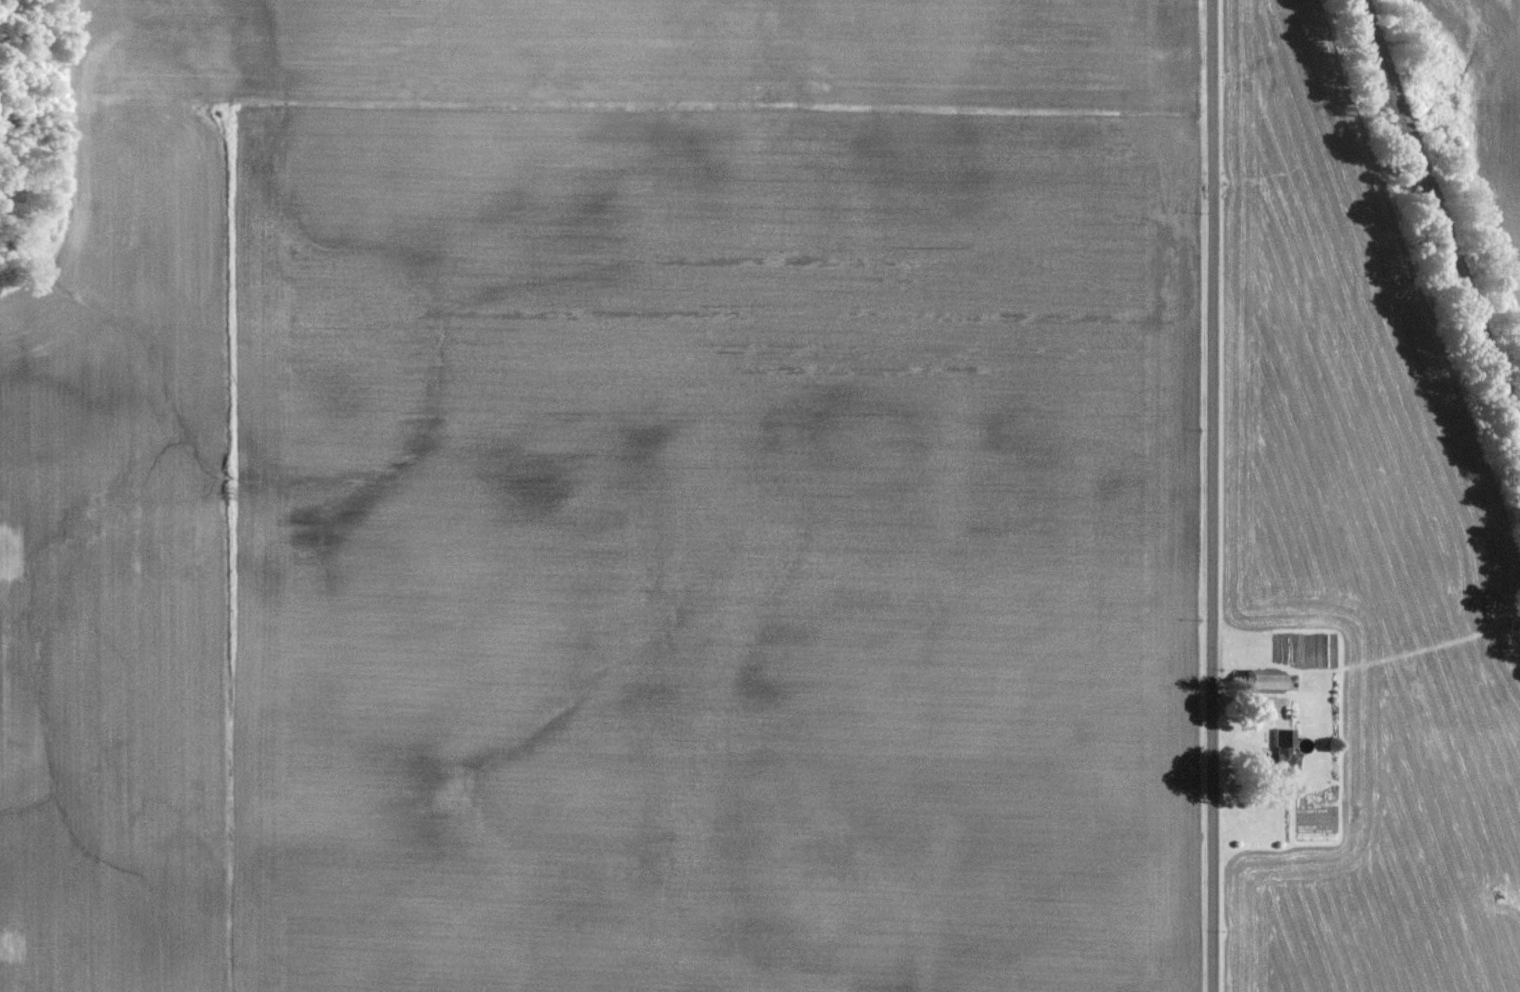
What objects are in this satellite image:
railway: (1439, 217)
road: (1212, 495)
building: (1268, 682)
building: (1286, 750)

